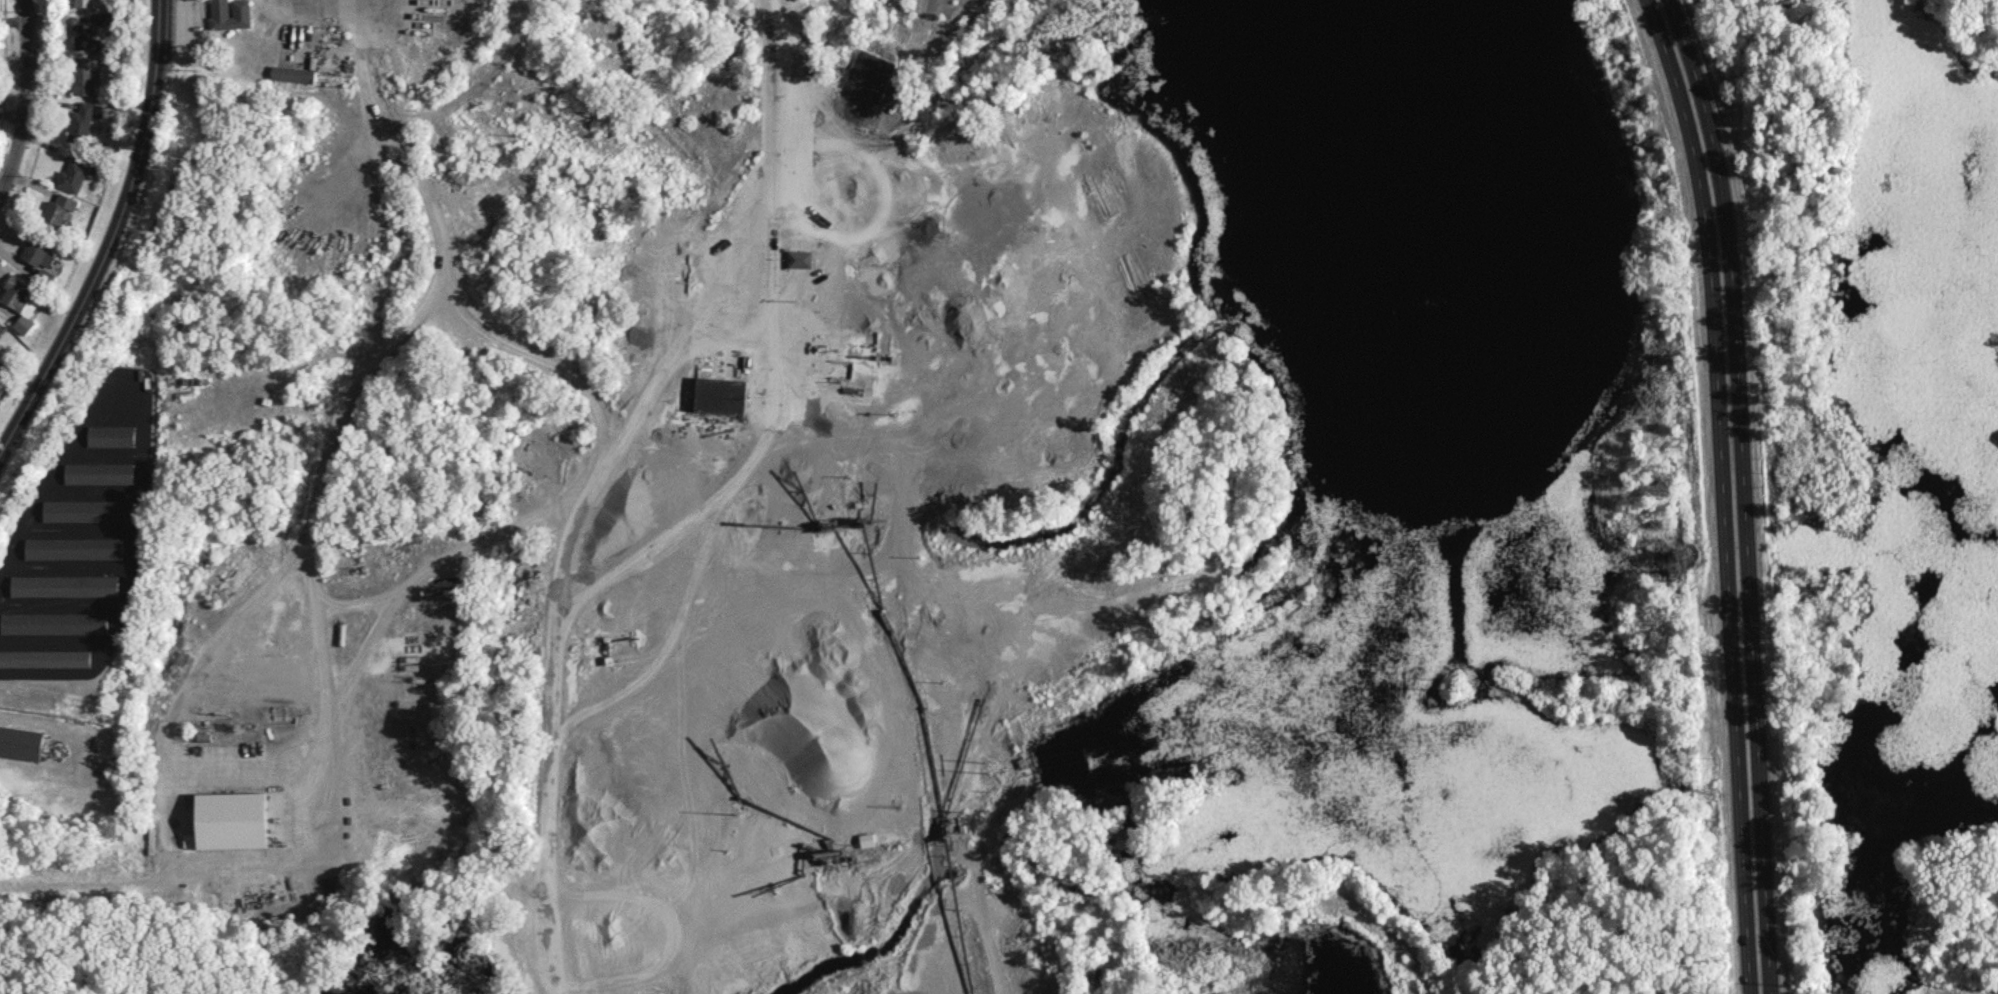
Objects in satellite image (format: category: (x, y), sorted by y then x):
building: (83, 2)
building: (219, 7)
building: (85, 36)
road: (332, 54)
building: (292, 73)
building: (87, 75)
road: (23, 99)
building: (83, 120)
building: (72, 176)
road: (771, 178)
building: (58, 210)
road: (113, 241)
building: (39, 254)
building: (800, 258)
building: (17, 294)
building: (2, 327)
building: (2, 369)
building: (720, 398)
building: (111, 435)
road: (416, 436)
building: (99, 473)
road: (1734, 493)
building: (89, 510)
building: (75, 547)
building: (66, 585)
building: (56, 622)
building: (46, 657)
building: (21, 742)
road: (326, 753)
road: (163, 756)
road: (426, 805)
building: (231, 819)

